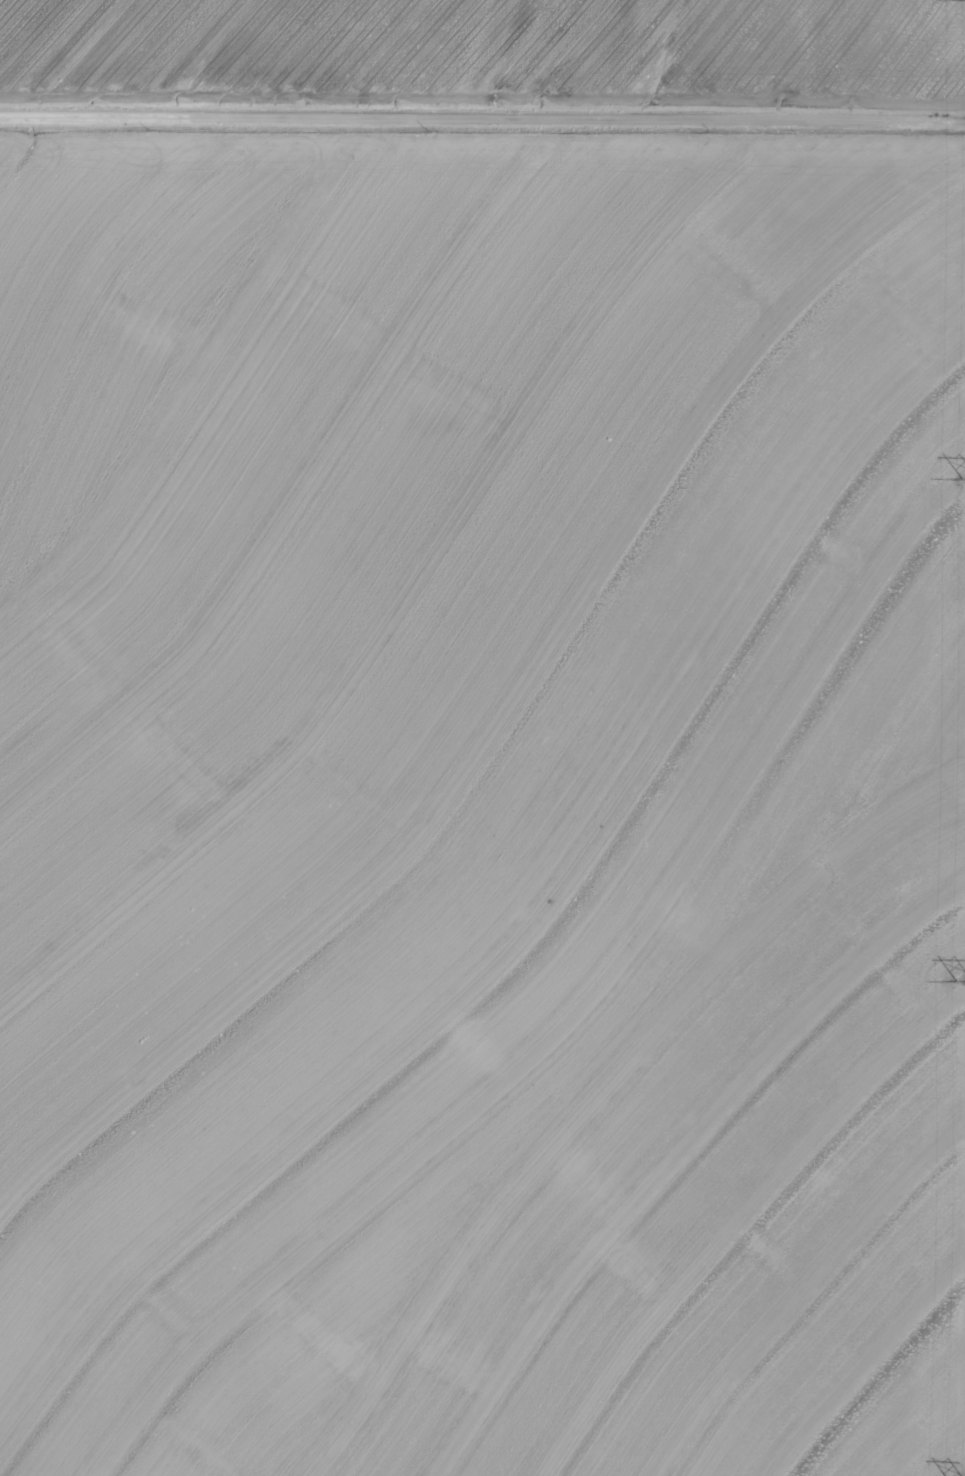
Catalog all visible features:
road: (482, 133)

